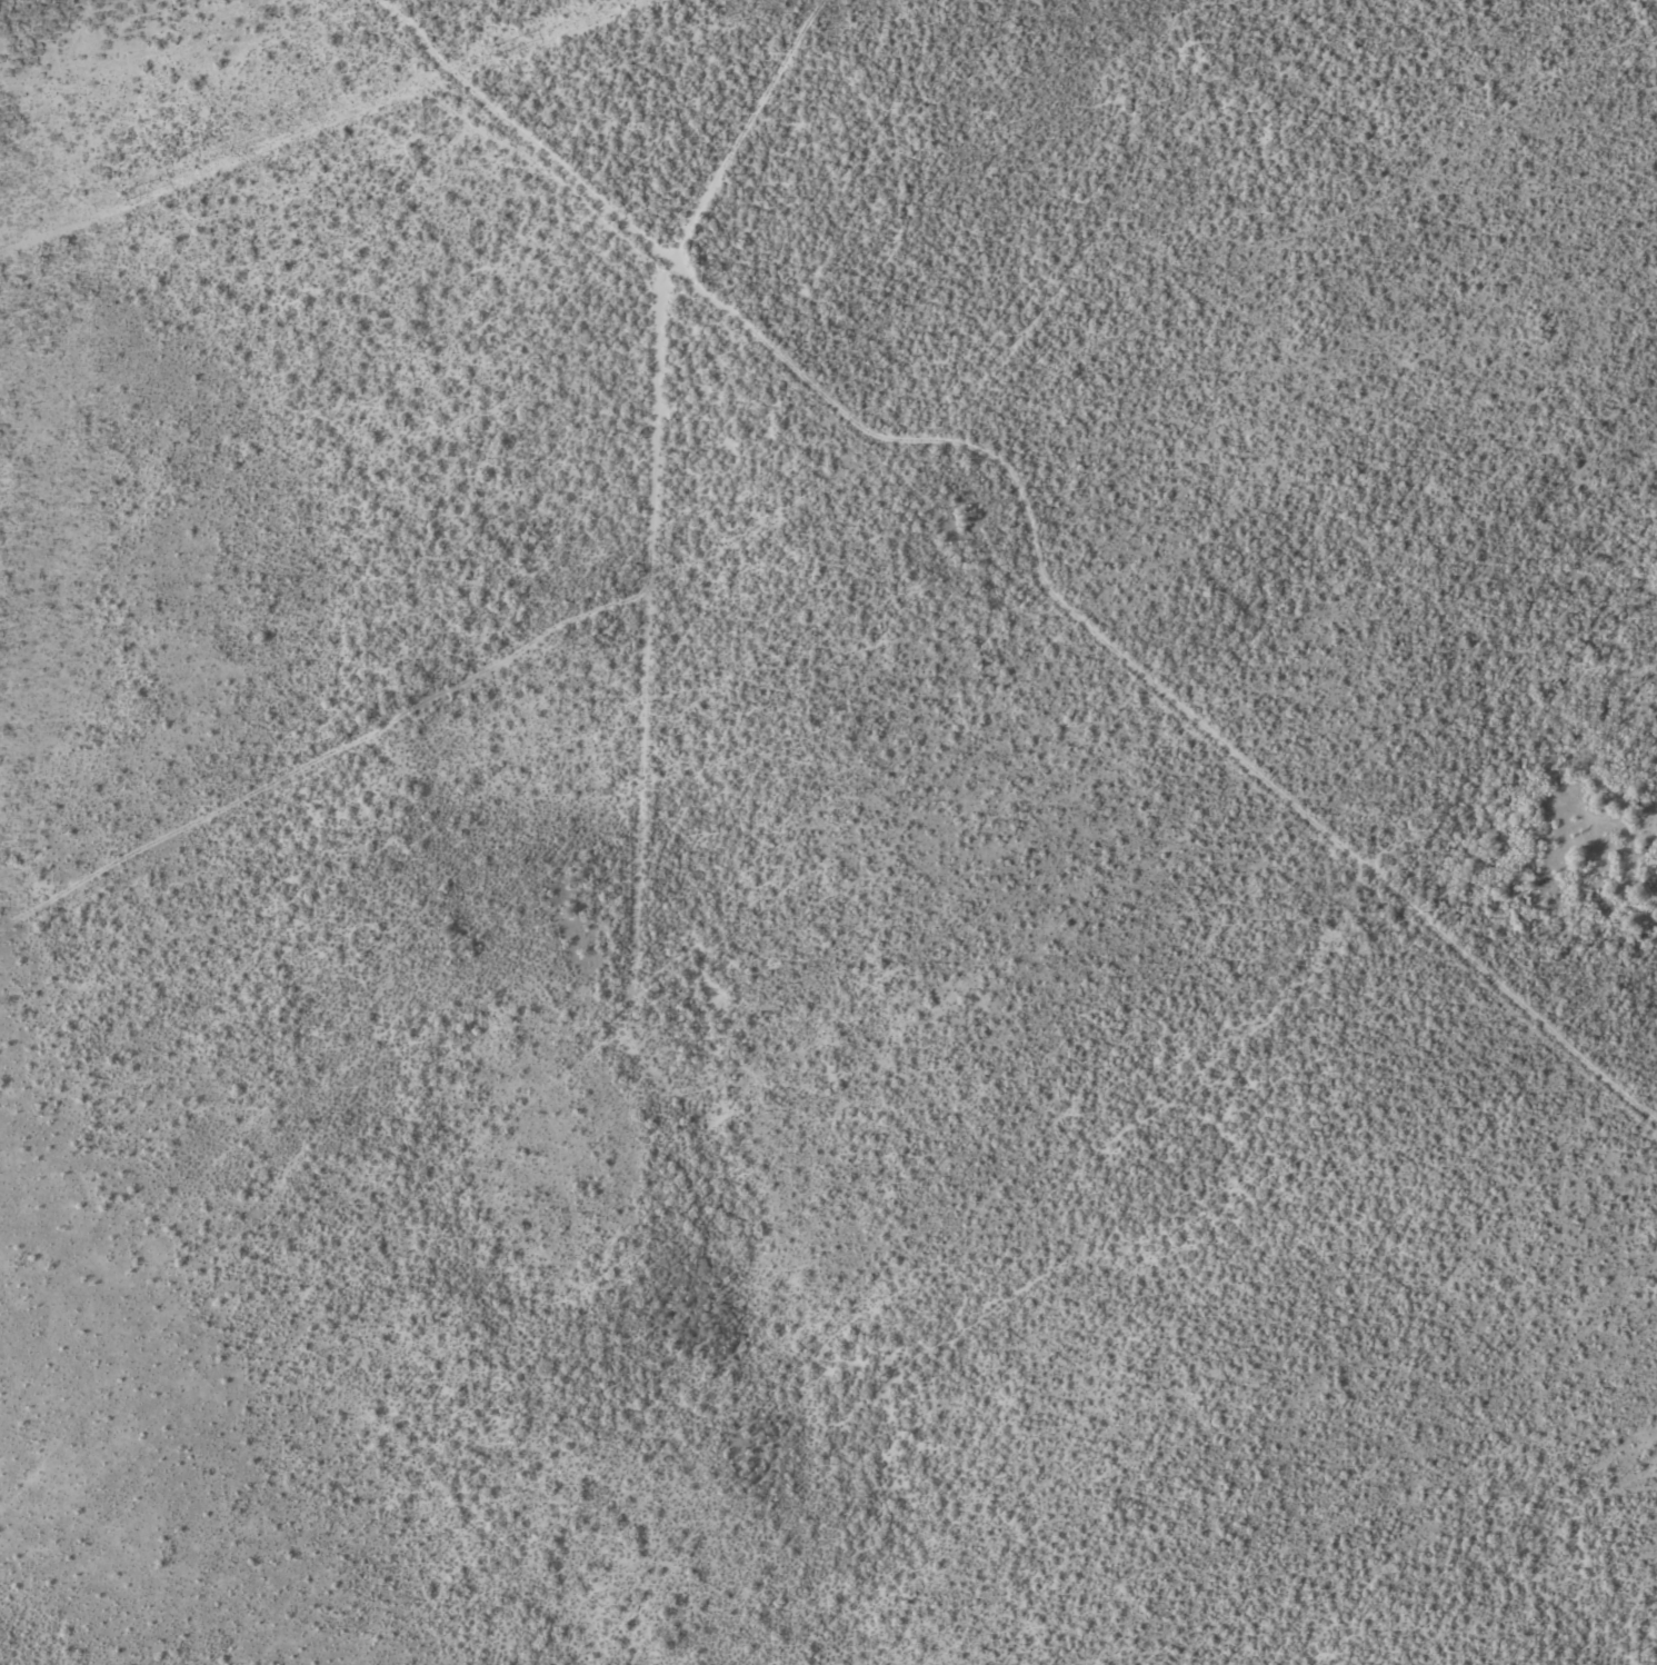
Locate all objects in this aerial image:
power tower: (493, 51)
power tower: (123, 197)

